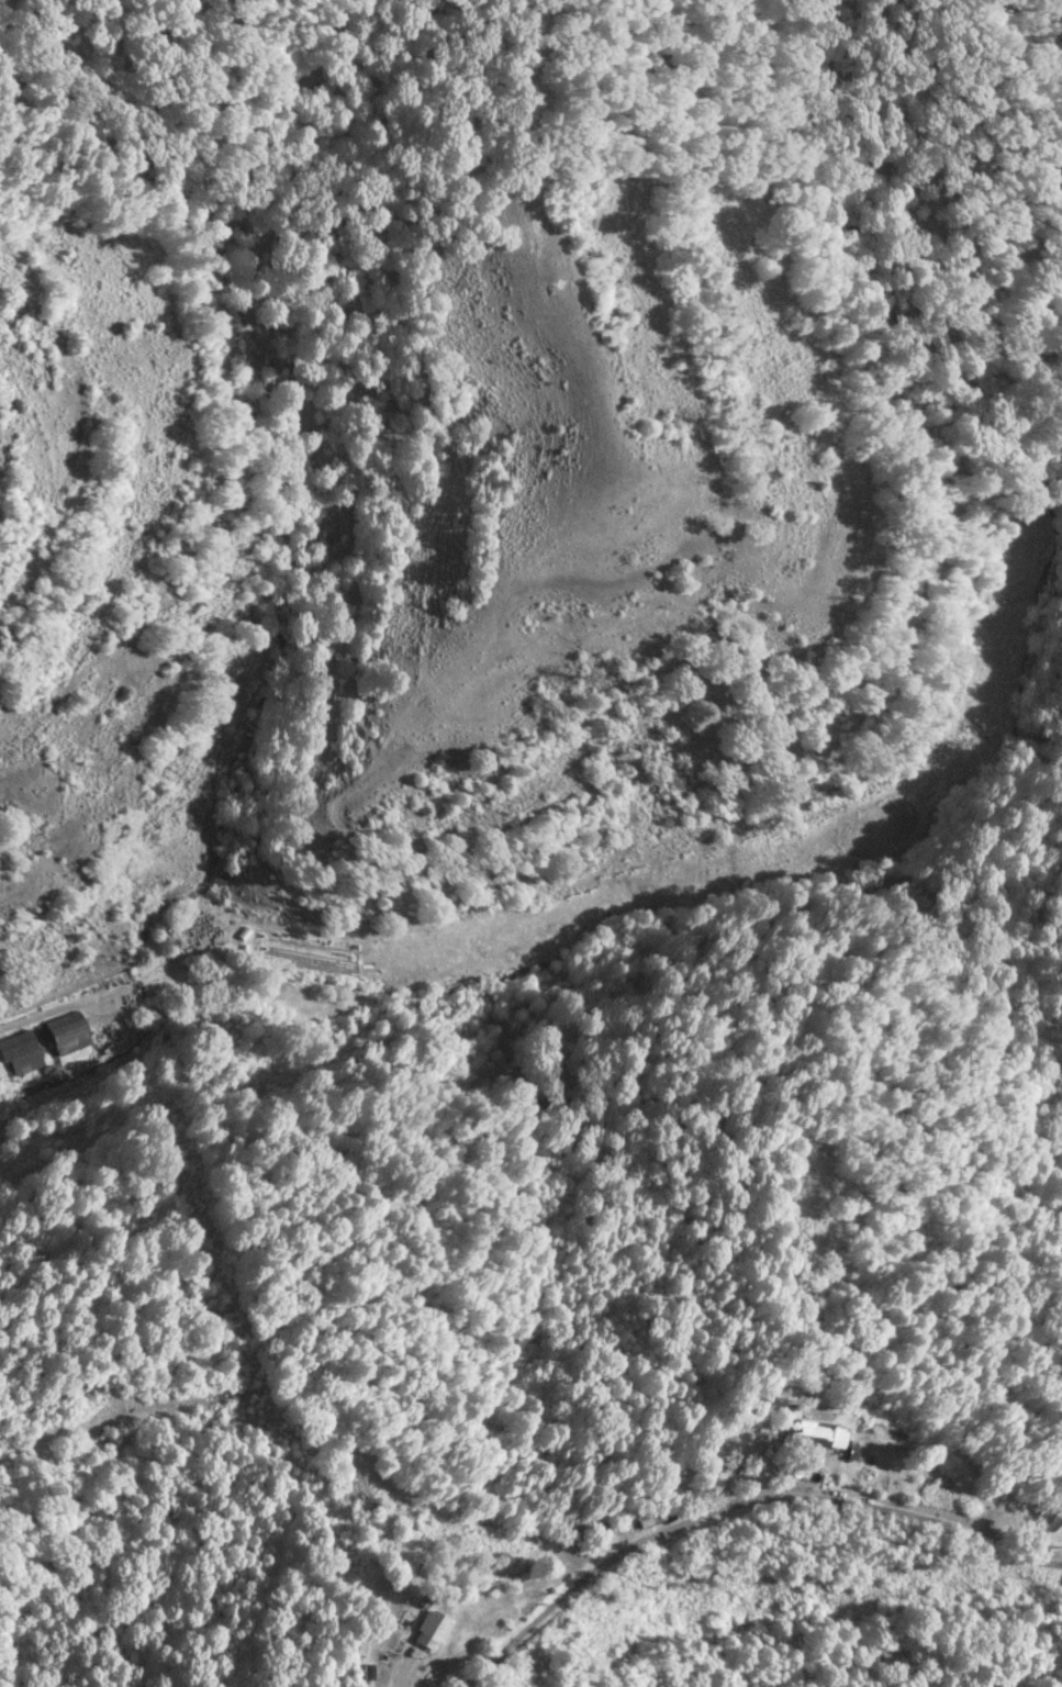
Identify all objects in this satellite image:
building: (203, 931)
road: (59, 1003)
building: (65, 1036)
building: (20, 1054)
building: (816, 1434)
road: (734, 1499)
building: (429, 1630)

